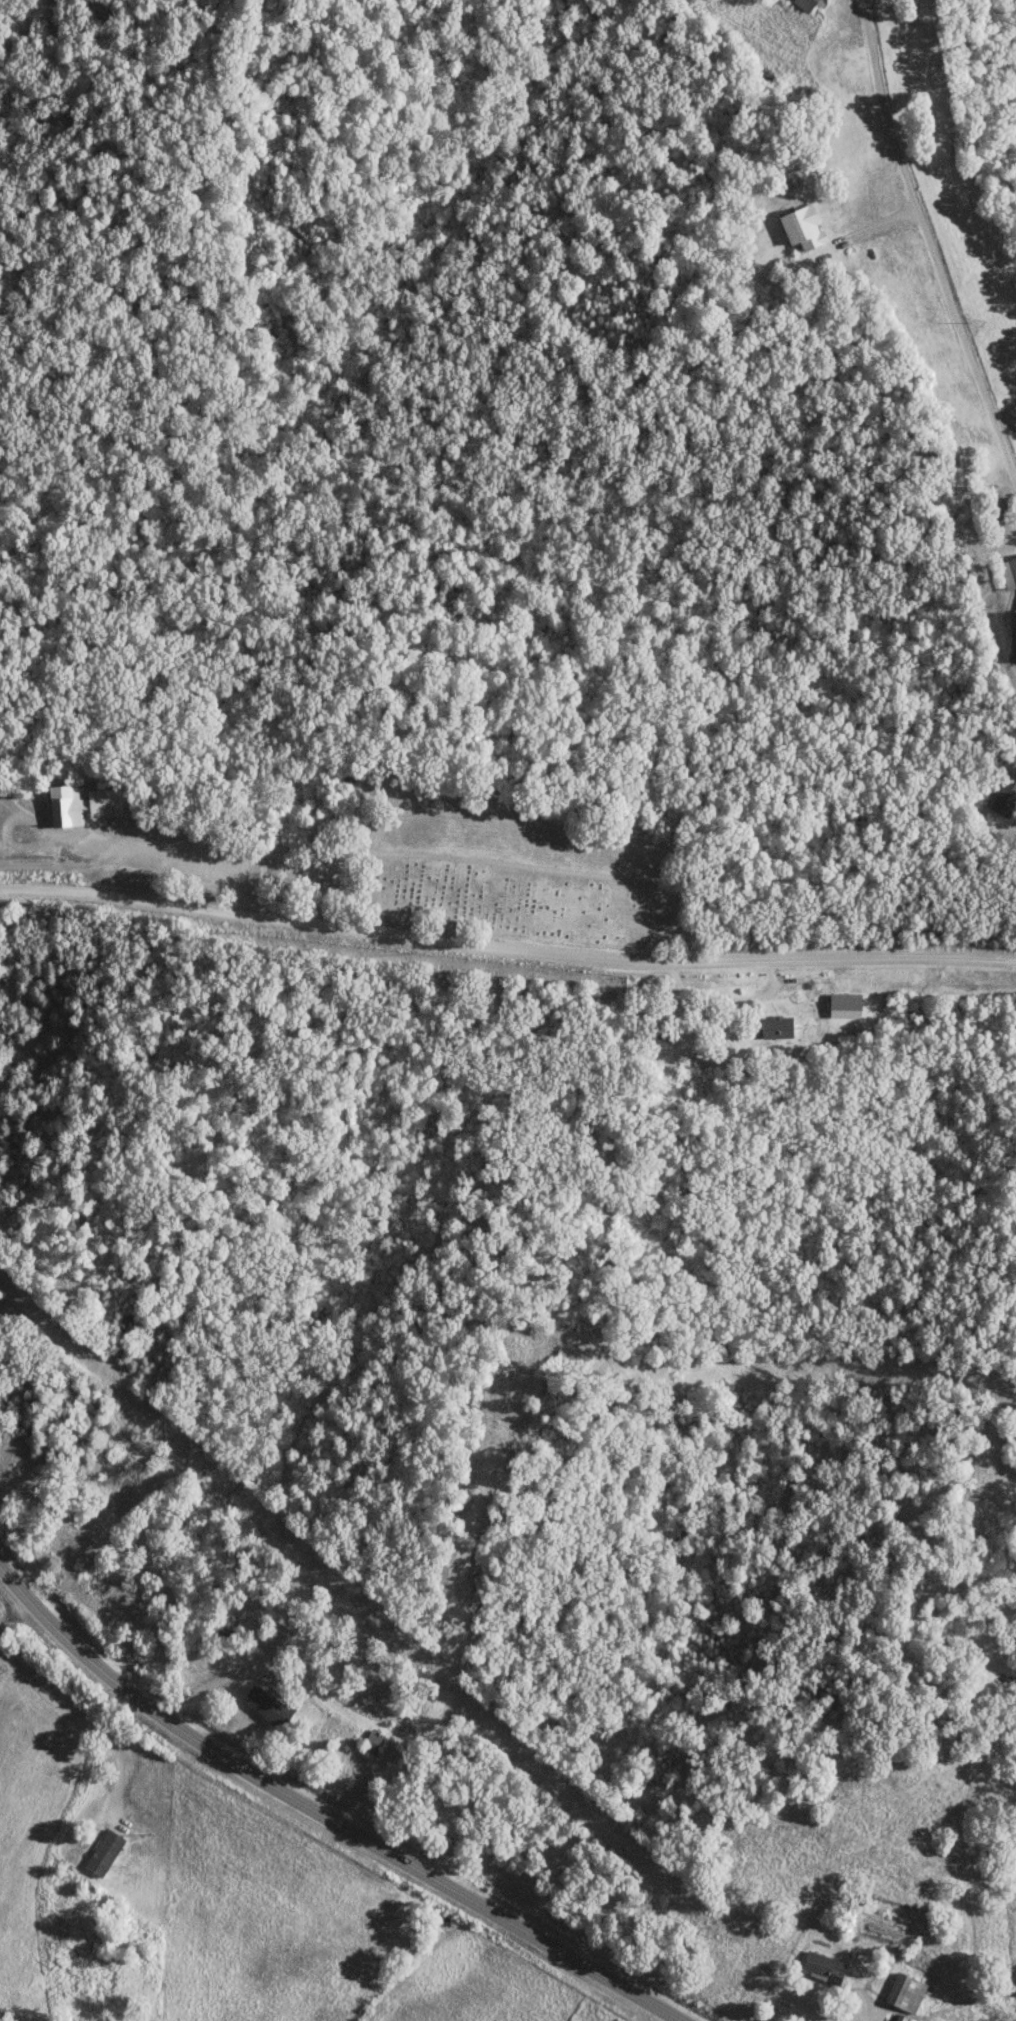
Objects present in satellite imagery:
building: (810, 3)
building: (805, 227)
road: (928, 239)
building: (1014, 564)
building: (1001, 797)
building: (83, 804)
park: (20, 826)
road: (455, 857)
park: (471, 886)
road: (507, 930)
building: (848, 1002)
building: (778, 1027)
building: (269, 1706)
road: (78, 1719)
building: (375, 1742)
road: (326, 1814)
building: (105, 1852)
building: (825, 1965)
building: (908, 1991)

